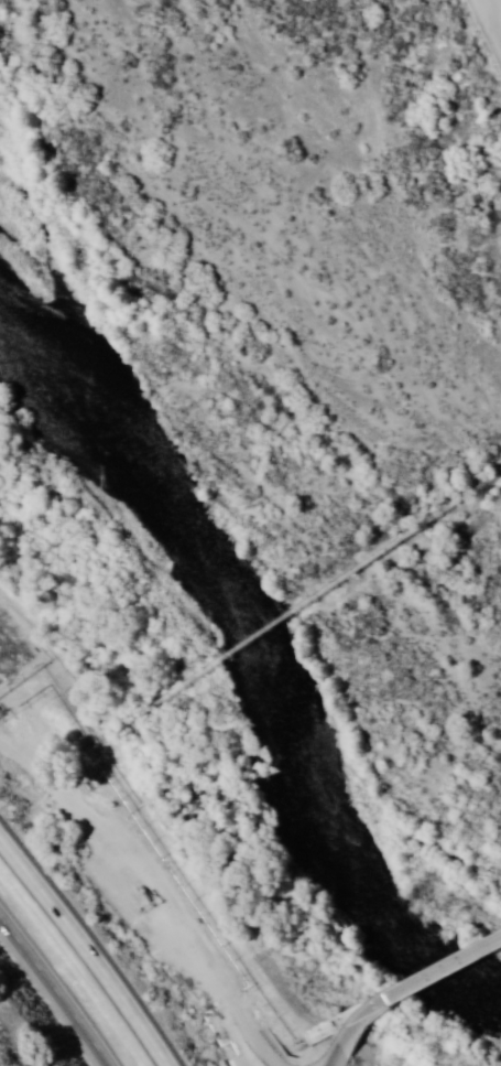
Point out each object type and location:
road: (476, 53)
river: (135, 491)
river: (350, 884)
road: (138, 886)
road: (87, 950)
road: (411, 987)
road: (54, 992)
road: (334, 1059)

